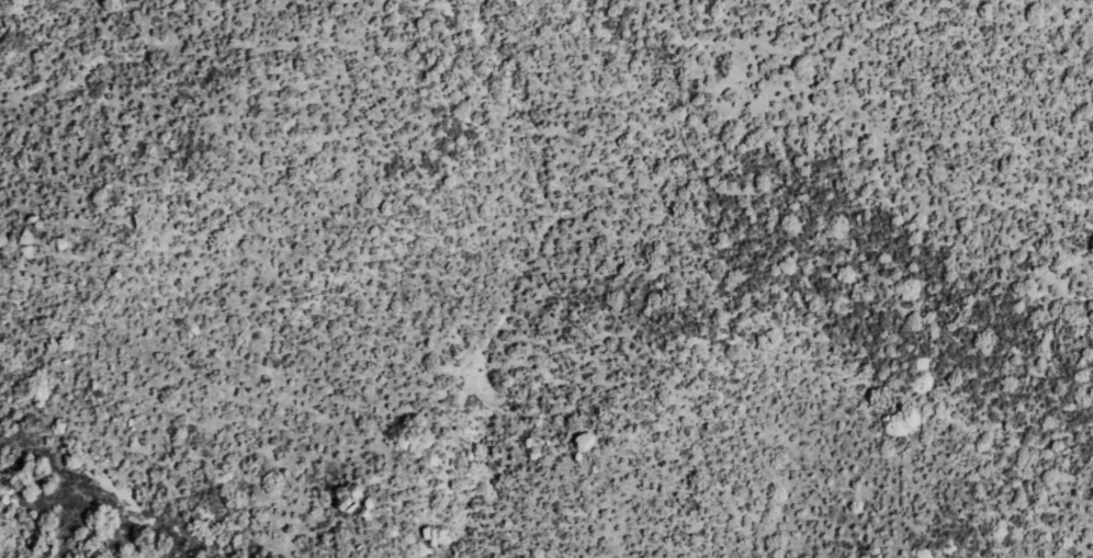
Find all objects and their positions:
building: (587, 440)

